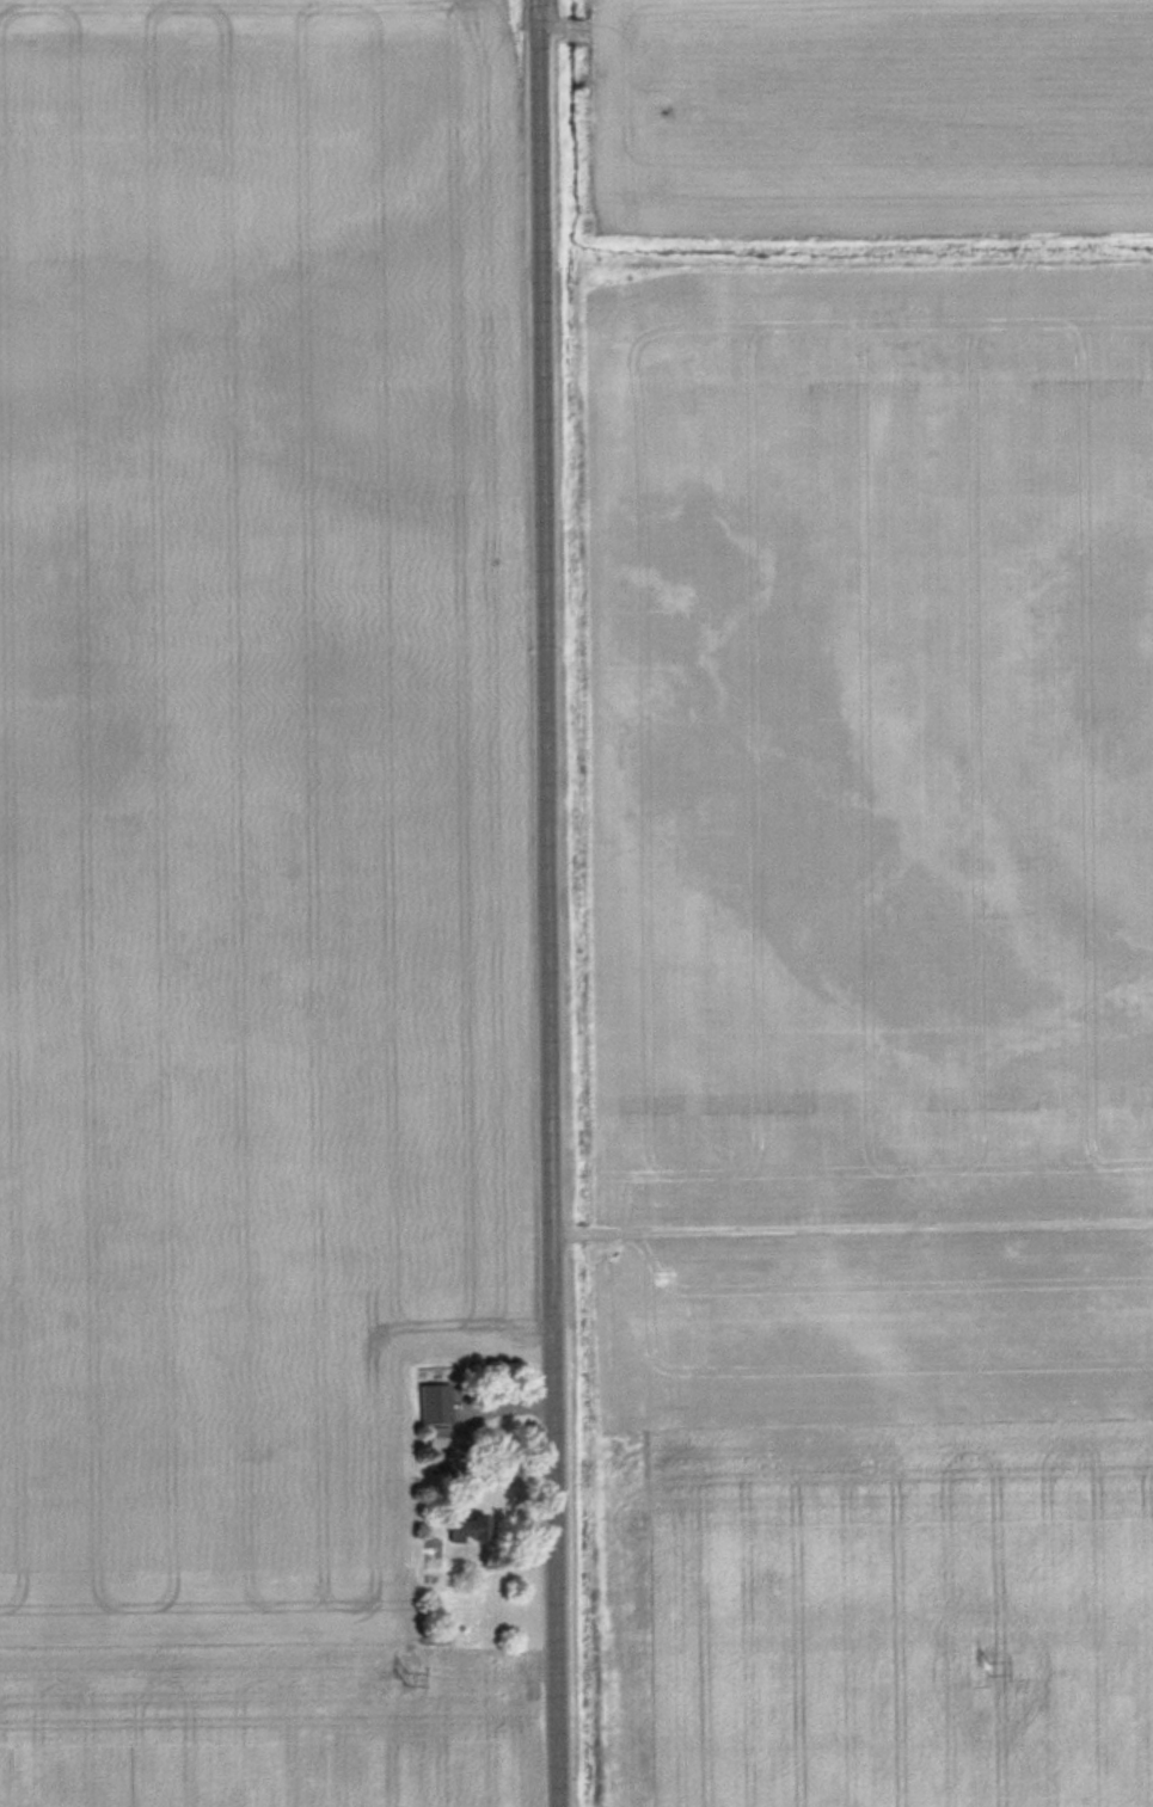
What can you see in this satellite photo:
road: (551, 903)
building: (435, 1402)
building: (438, 1436)
building: (468, 1526)
power tower: (987, 1670)
power tower: (413, 1677)

